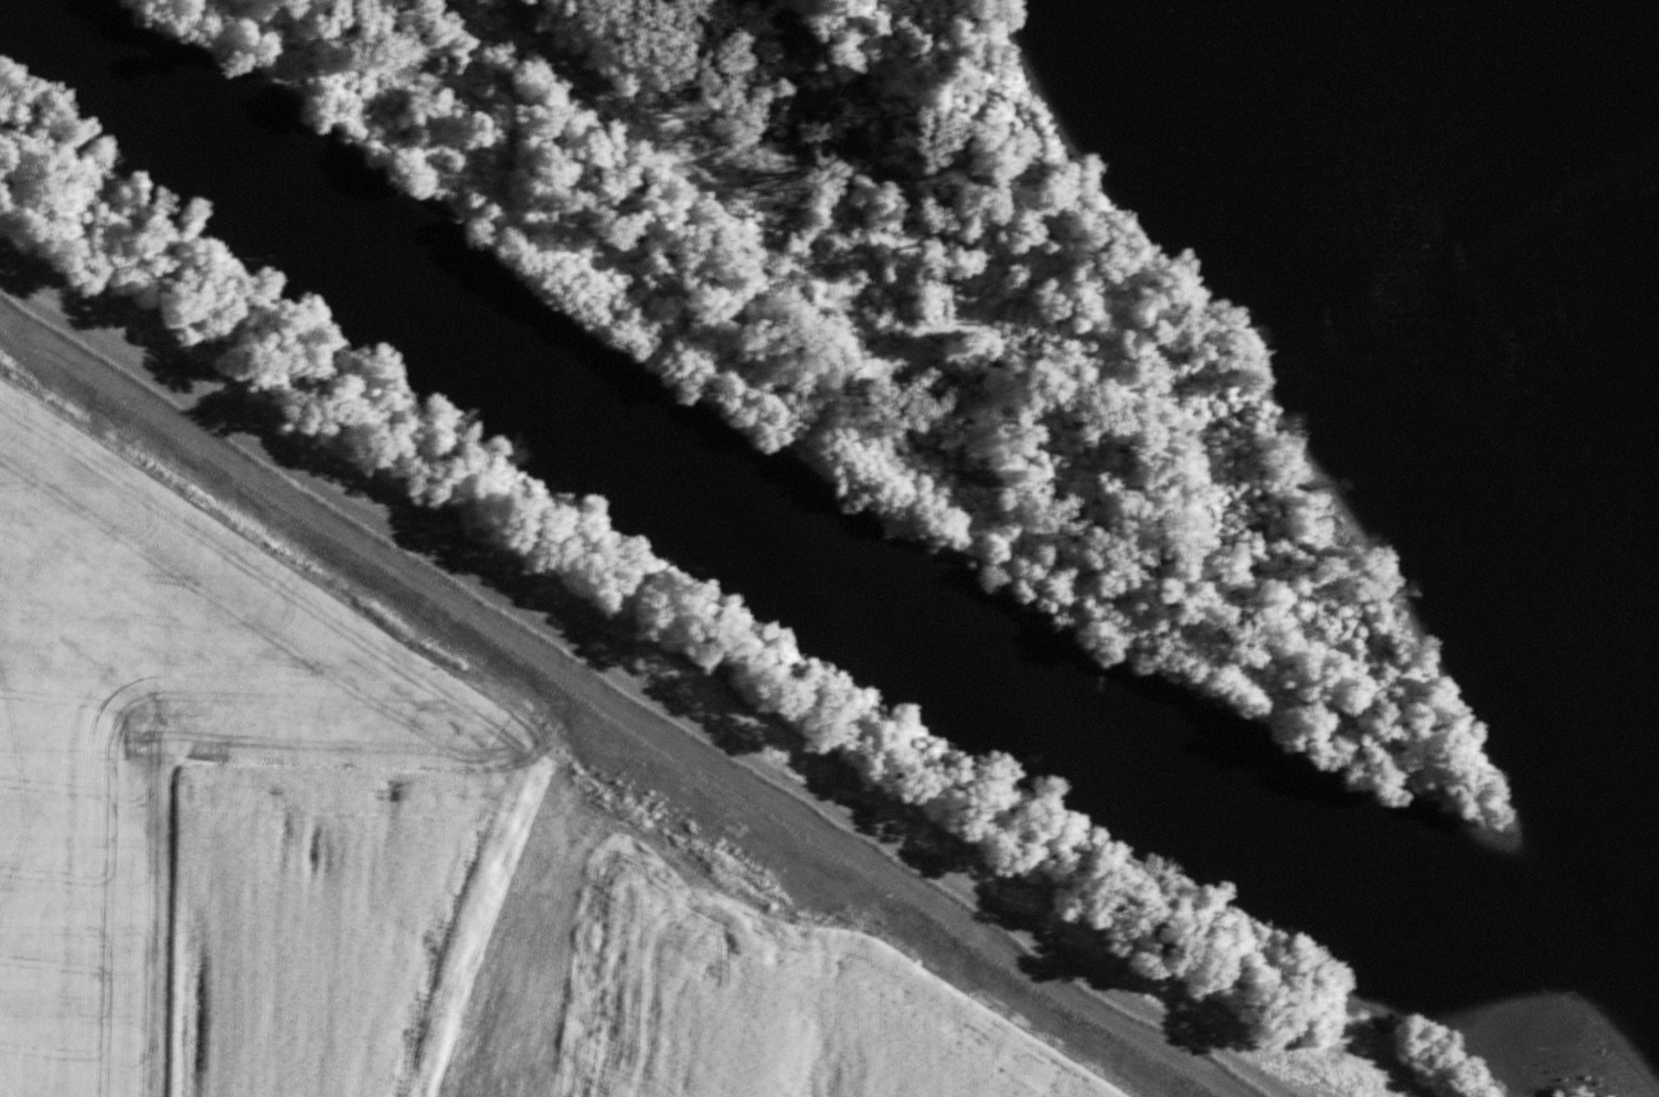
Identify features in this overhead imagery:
road: (628, 703)
crop: (373, 864)

